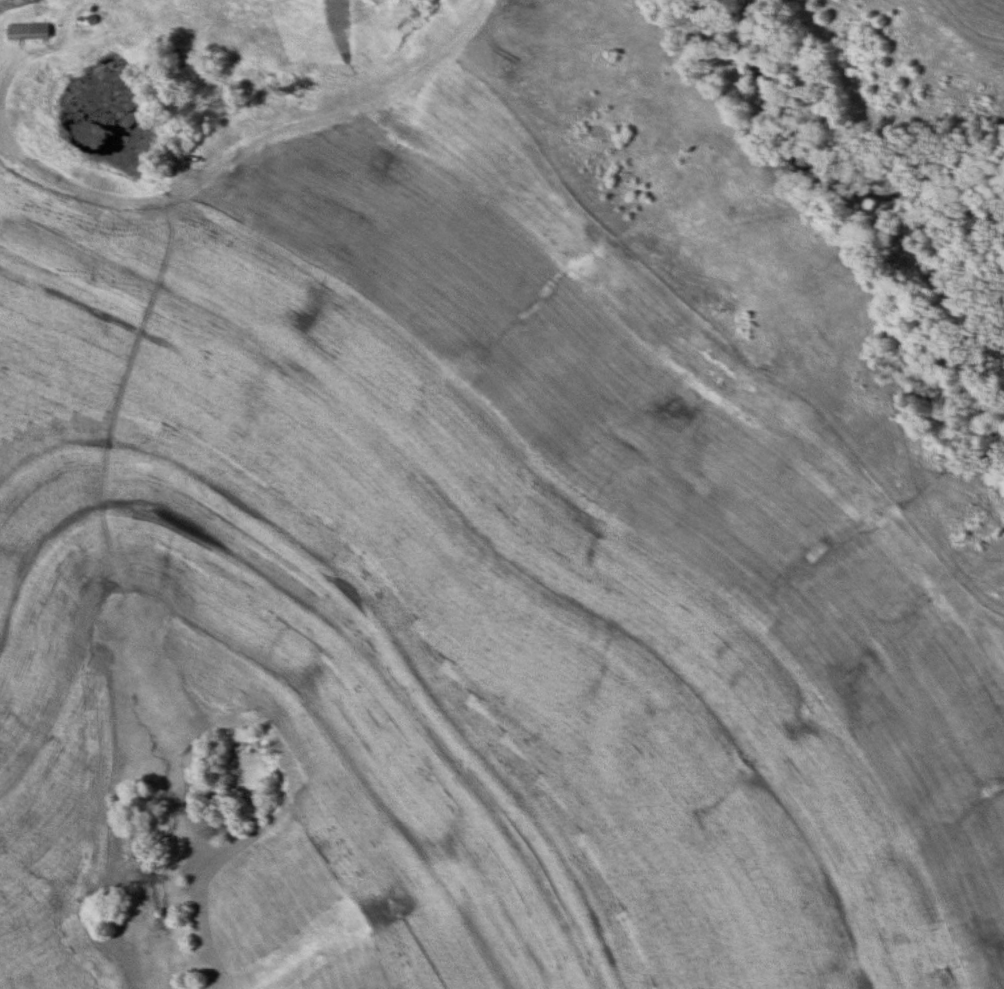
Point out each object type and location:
building: (30, 30)

